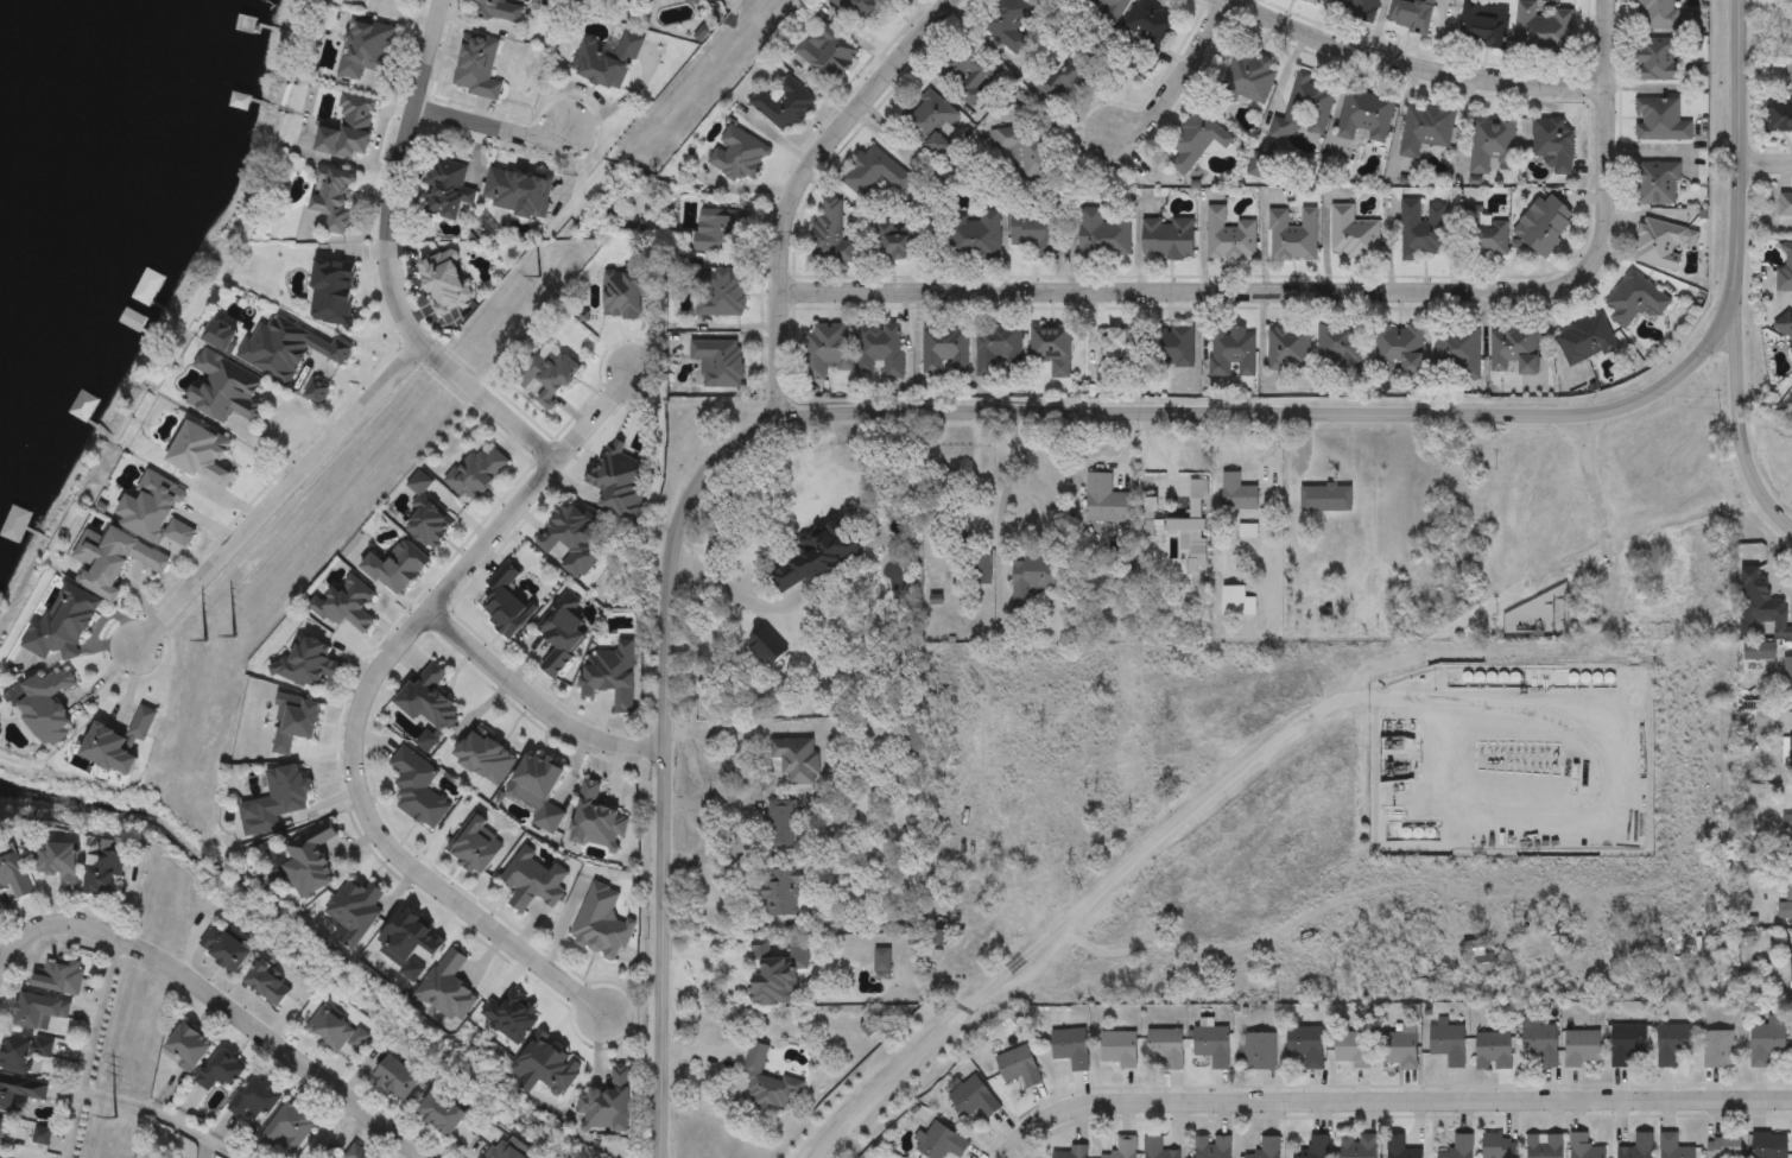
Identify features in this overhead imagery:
building: (1312, 1)
building: (702, 2)
building: (1114, 5)
building: (857, 8)
building: (1356, 8)
building: (498, 11)
building: (1410, 15)
building: (1657, 15)
building: (1011, 23)
building: (1151, 24)
building: (1483, 24)
building: (1543, 27)
building: (827, 53)
building: (606, 61)
building: (1659, 62)
road: (1411, 68)
building: (967, 78)
building: (1065, 78)
road: (1178, 78)
building: (1250, 78)
building: (783, 105)
building: (1306, 109)
building: (1779, 114)
building: (1366, 115)
building: (1660, 121)
building: (931, 122)
road: (492, 124)
building: (1425, 129)
building: (1196, 143)
road: (1739, 143)
building: (1492, 144)
building: (1554, 145)
building: (1026, 151)
building: (736, 156)
road: (1766, 164)
building: (1258, 167)
building: (876, 172)
road: (394, 173)
road: (805, 184)
building: (1658, 184)
building: (1786, 204)
building: (1545, 224)
building: (1423, 228)
building: (1037, 230)
building: (720, 232)
building: (832, 235)
building: (1102, 235)
building: (1353, 235)
building: (1484, 235)
building: (976, 238)
building: (1228, 238)
building: (1293, 238)
building: (1167, 239)
building: (900, 242)
building: (1660, 245)
building: (1785, 270)
power tower: (537, 279)
building: (626, 287)
road: (1318, 289)
building: (720, 295)
building: (1634, 300)
building: (1785, 330)
building: (1585, 341)
building: (1173, 347)
building: (1051, 349)
building: (1288, 349)
building: (1514, 349)
building: (829, 350)
building: (880, 350)
building: (999, 350)
building: (1340, 350)
building: (1400, 350)
building: (944, 352)
building: (1114, 352)
building: (1233, 353)
building: (1457, 353)
building: (718, 362)
road: (488, 404)
road: (895, 415)
road: (1736, 434)
road: (1101, 466)
building: (620, 477)
building: (1235, 492)
road: (279, 498)
building: (1103, 499)
building: (1323, 499)
road: (1001, 504)
building: (1180, 523)
road: (1601, 523)
building: (17, 524)
building: (813, 553)
building: (976, 567)
building: (1028, 577)
road: (734, 595)
building: (64, 624)
power tower: (234, 639)
road: (1522, 650)
building: (1788, 681)
road: (360, 701)
building: (45, 705)
road: (534, 705)
road: (716, 728)
building: (1787, 754)
building: (485, 757)
building: (794, 758)
building: (417, 787)
building: (538, 790)
building: (274, 799)
road: (1189, 811)
building: (596, 821)
building: (1787, 822)
building: (778, 823)
building: (474, 843)
building: (308, 860)
building: (534, 878)
building: (780, 891)
building: (1786, 901)
building: (354, 910)
building: (601, 924)
building: (409, 942)
road: (14, 944)
building: (1478, 960)
building: (1791, 963)
building: (773, 969)
building: (445, 987)
road: (245, 1018)
building: (1540, 1040)
building: (1672, 1042)
building: (1766, 1042)
building: (1448, 1043)
building: (1627, 1043)
building: (1306, 1044)
building: (189, 1045)
building: (1211, 1045)
road: (93, 1046)
building: (1165, 1046)
building: (1069, 1048)
building: (1400, 1048)
building: (1582, 1048)
building: (1119, 1049)
building: (1351, 1049)
building: (1718, 1049)
building: (1259, 1050)
building: (1493, 1051)
building: (1018, 1067)
building: (544, 1068)
building: (220, 1070)
road: (888, 1078)
building: (764, 1083)
building: (973, 1097)
building: (254, 1099)
road: (1395, 1100)
building: (608, 1105)
road: (163, 1116)
power tower: (113, 1120)
road: (325, 1127)
building: (938, 1141)
building: (1357, 1145)
building: (1768, 1145)
building: (1123, 1146)
building: (1211, 1146)
building: (1316, 1146)
building: (1499, 1146)
building: (1544, 1146)
building: (1585, 1146)
building: (1723, 1146)
building: (1265, 1147)
building: (1399, 1147)
building: (1457, 1147)
building: (1157, 1148)
building: (1636, 1148)
building: (504, 1151)
building: (1075, 1151)
road: (429, 1156)

